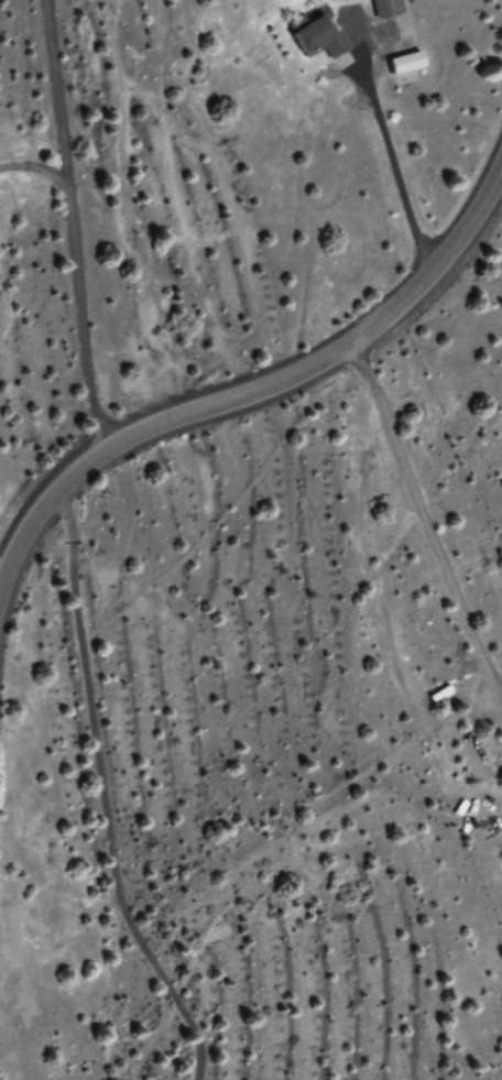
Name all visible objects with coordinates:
building: (384, 8)
building: (317, 37)
building: (403, 63)
road: (394, 172)
road: (254, 391)
road: (428, 527)

